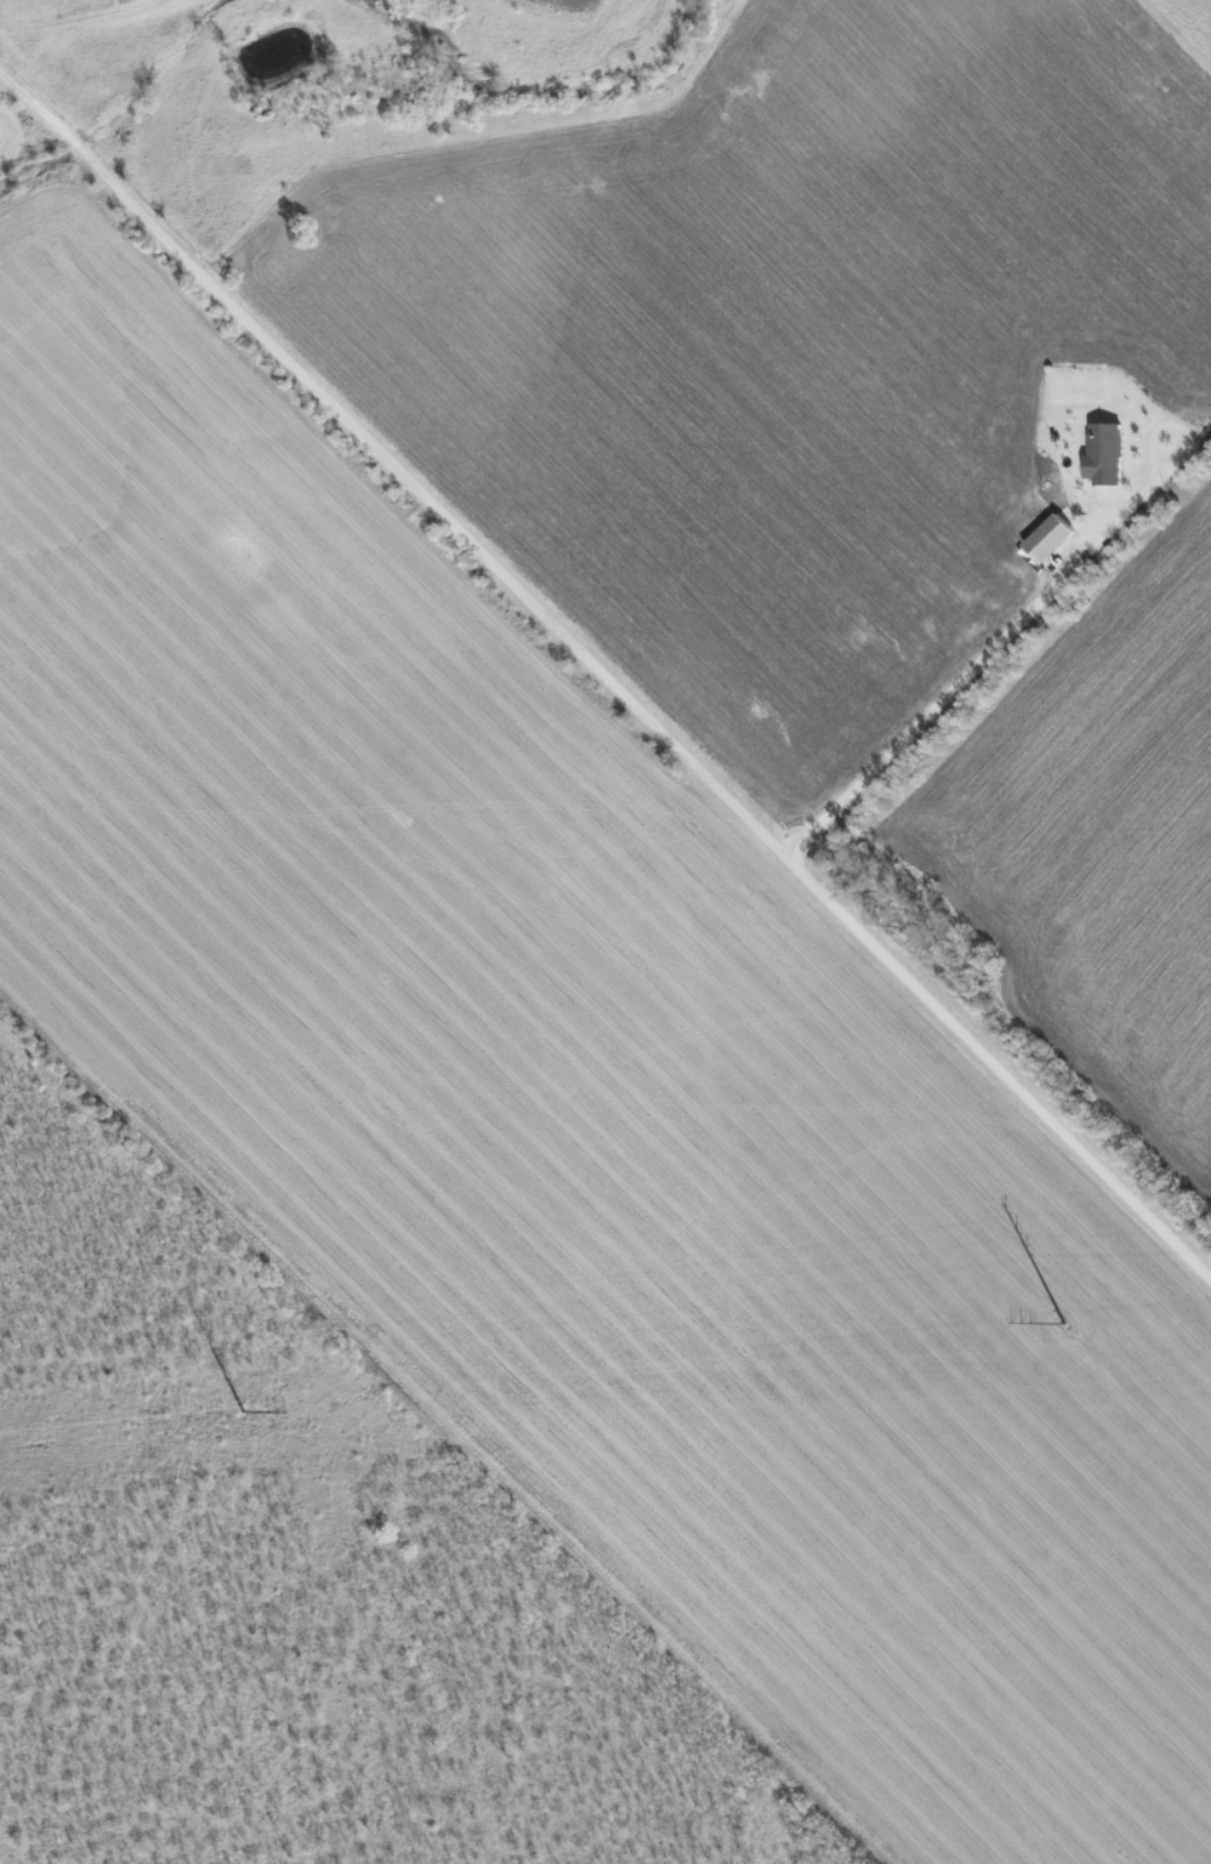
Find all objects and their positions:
road: (34, 102)
road: (80, 146)
building: (1054, 538)
road: (946, 692)
road: (649, 721)
power tower: (1053, 1323)
power tower: (224, 1409)

